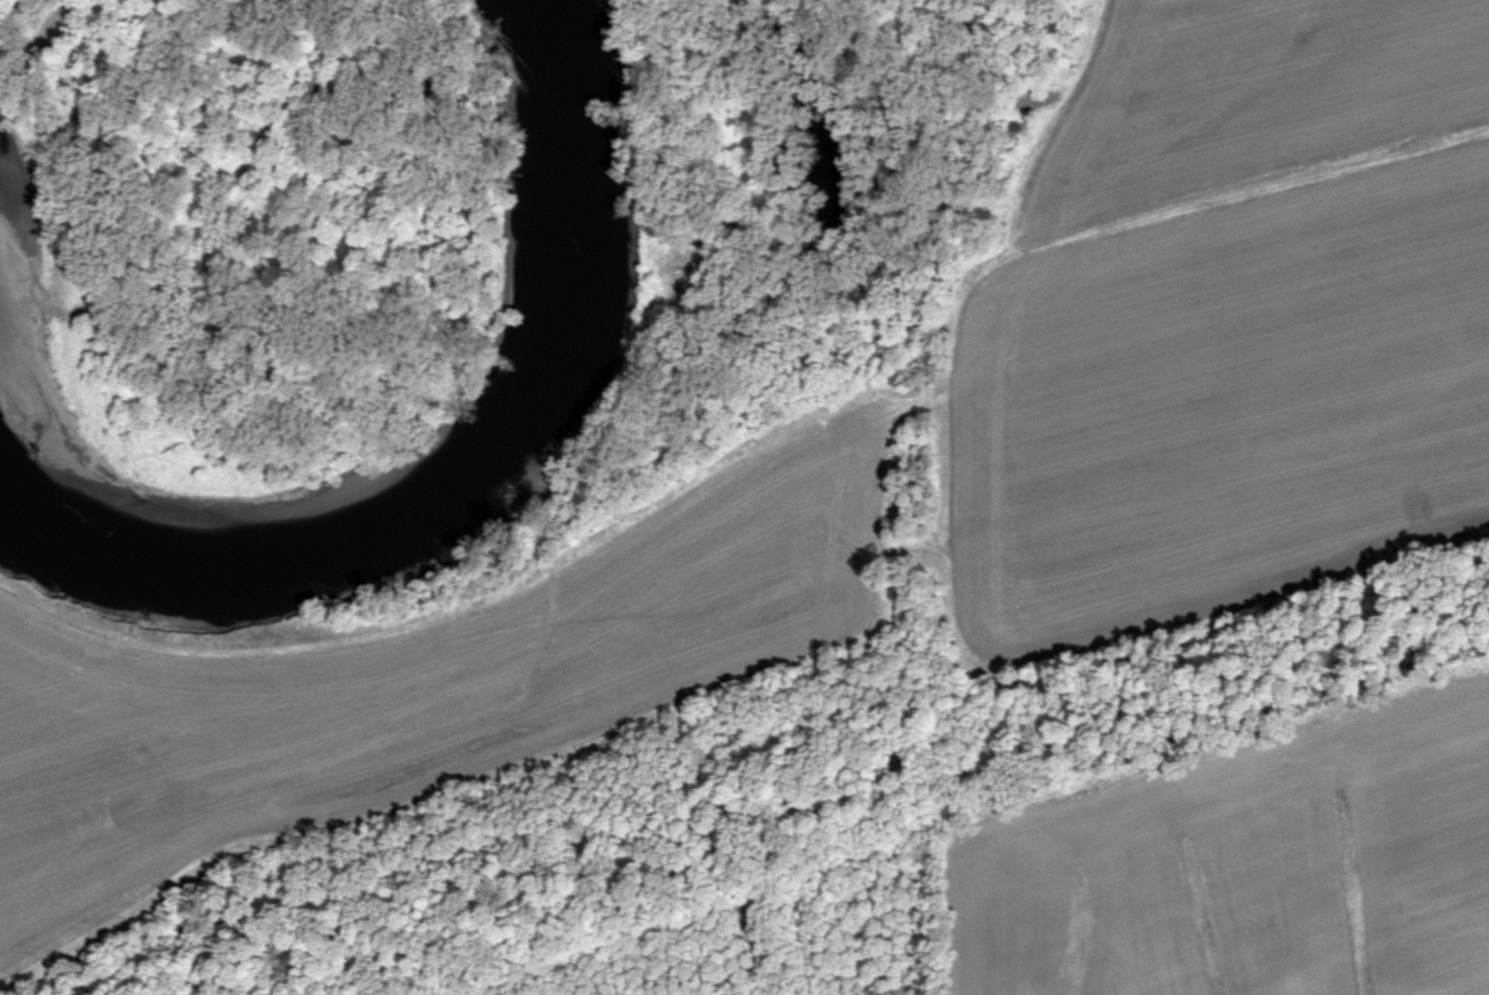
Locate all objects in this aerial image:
crop: (1226, 315)
river: (400, 520)
crop: (389, 690)

